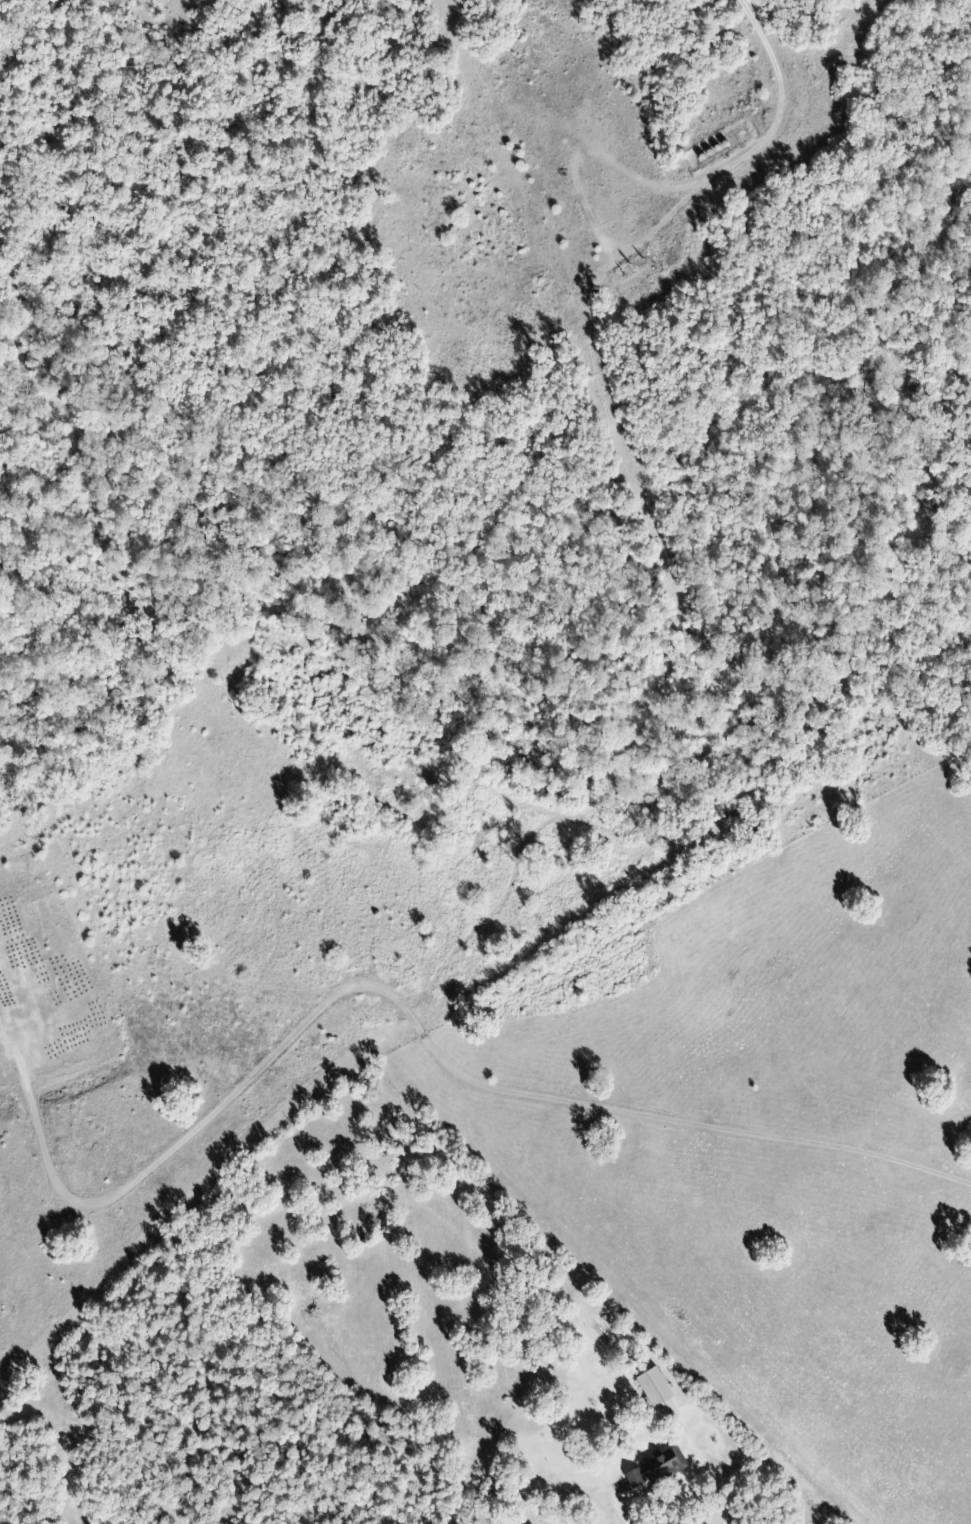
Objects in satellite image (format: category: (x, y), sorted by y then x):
building: (659, 1392)
building: (656, 1468)

